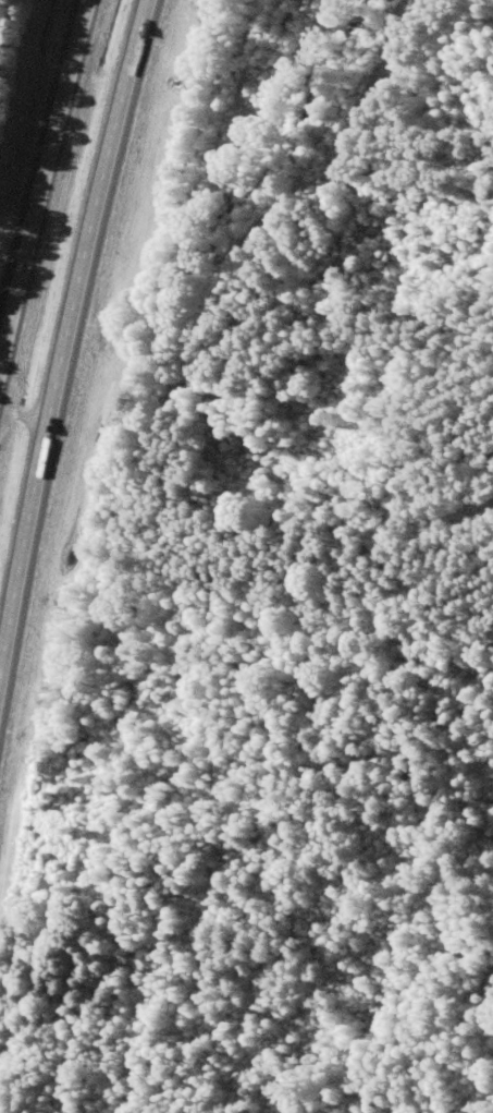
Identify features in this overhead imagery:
road: (39, 160)
road: (63, 320)

